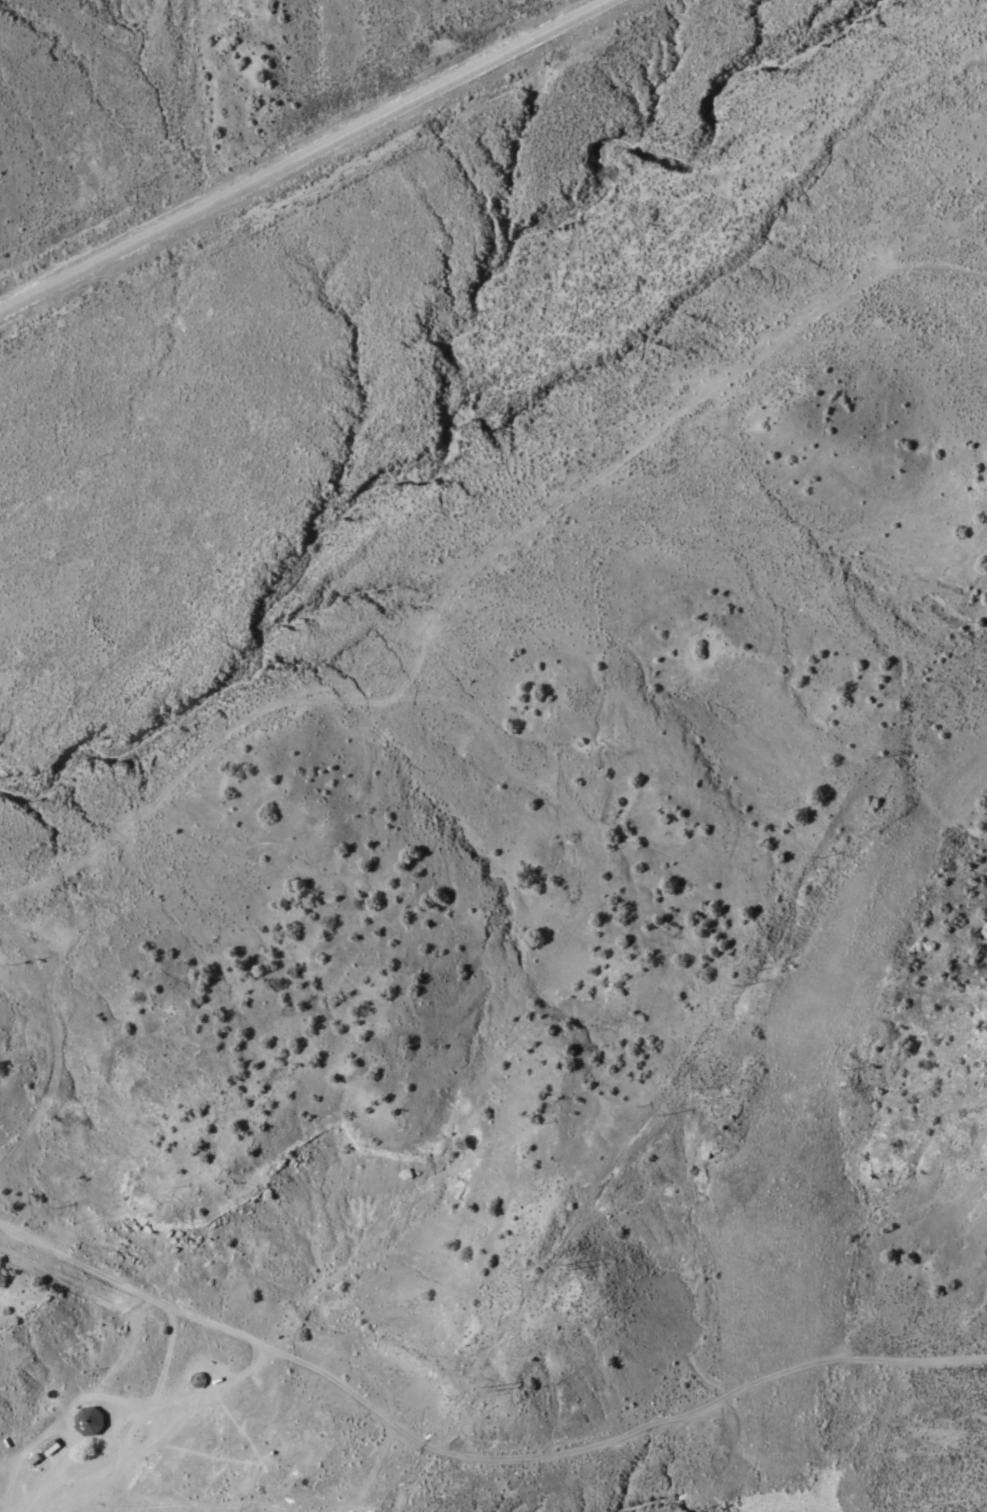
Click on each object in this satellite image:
road: (304, 156)
railway: (968, 779)
railway: (842, 947)
railway: (778, 1181)
road: (120, 1357)
railway: (783, 1376)
building: (89, 1421)
building: (51, 1447)

